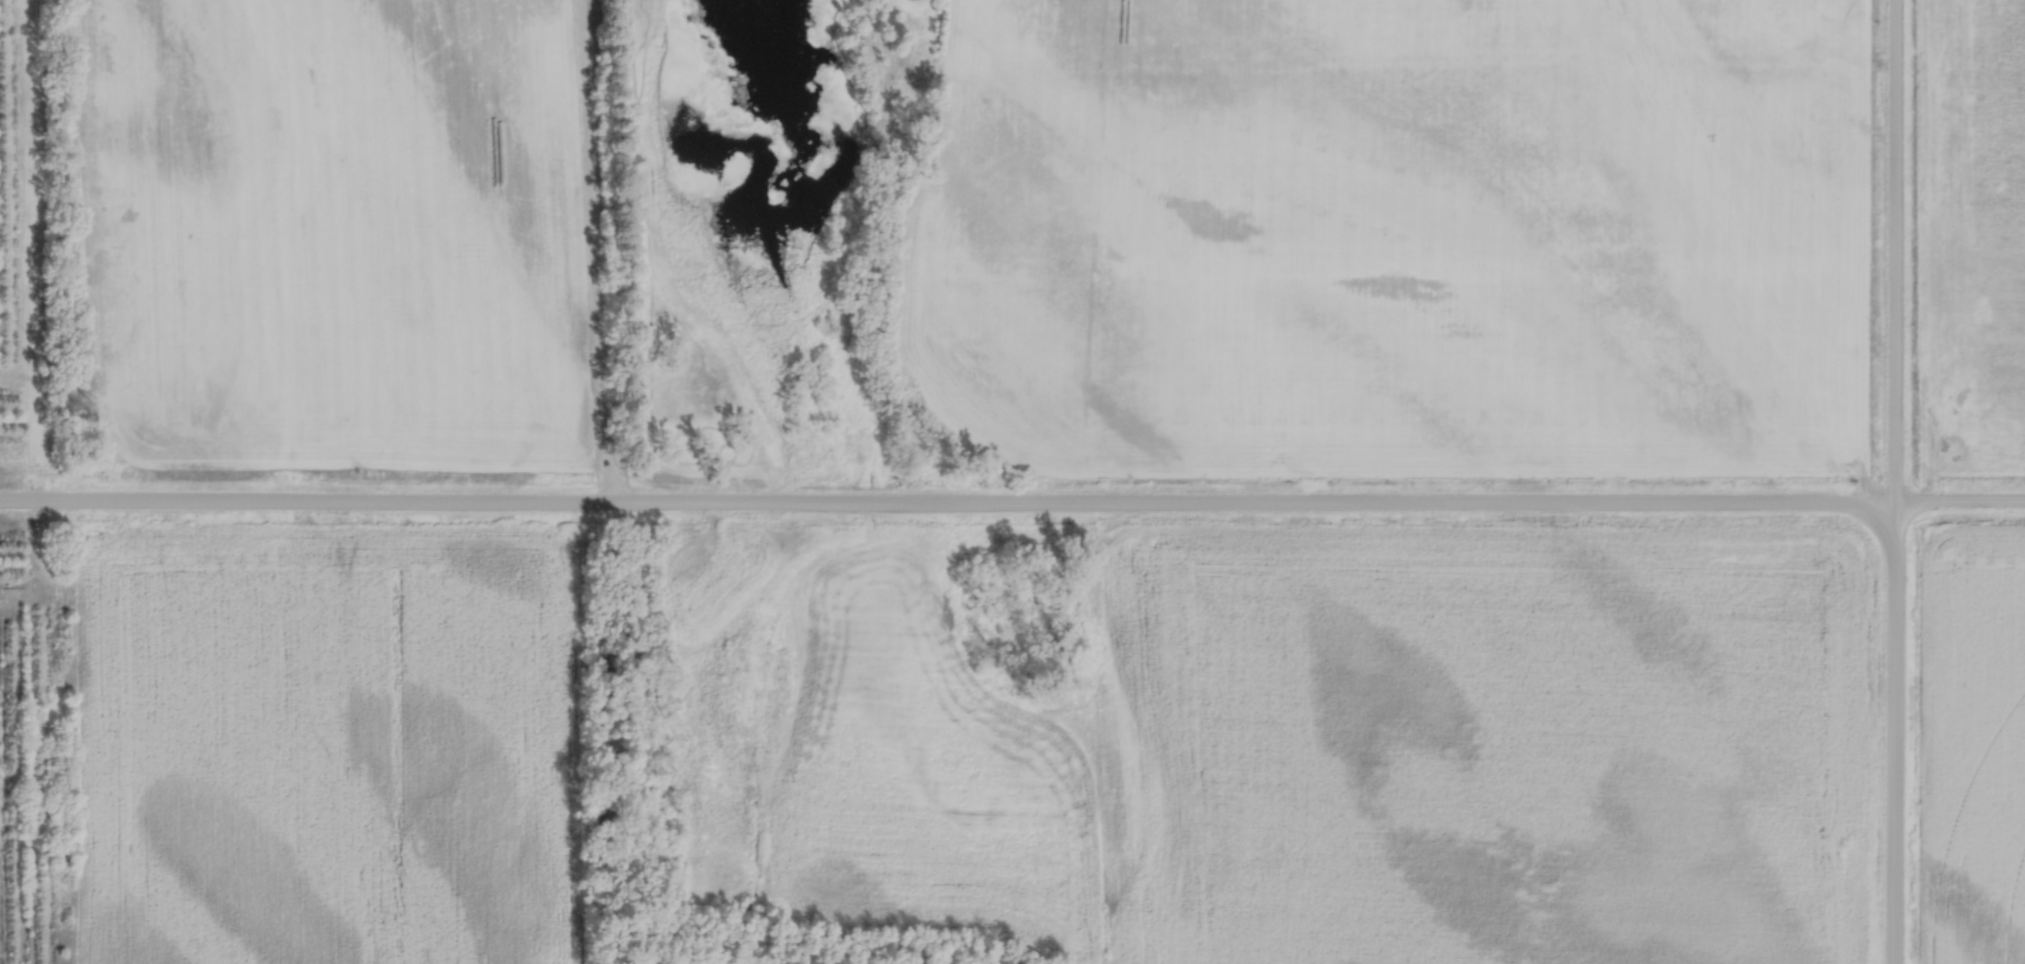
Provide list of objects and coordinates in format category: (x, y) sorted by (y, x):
road: (1895, 253)
road: (592, 259)
road: (1960, 505)
road: (947, 506)
road: (1894, 735)

